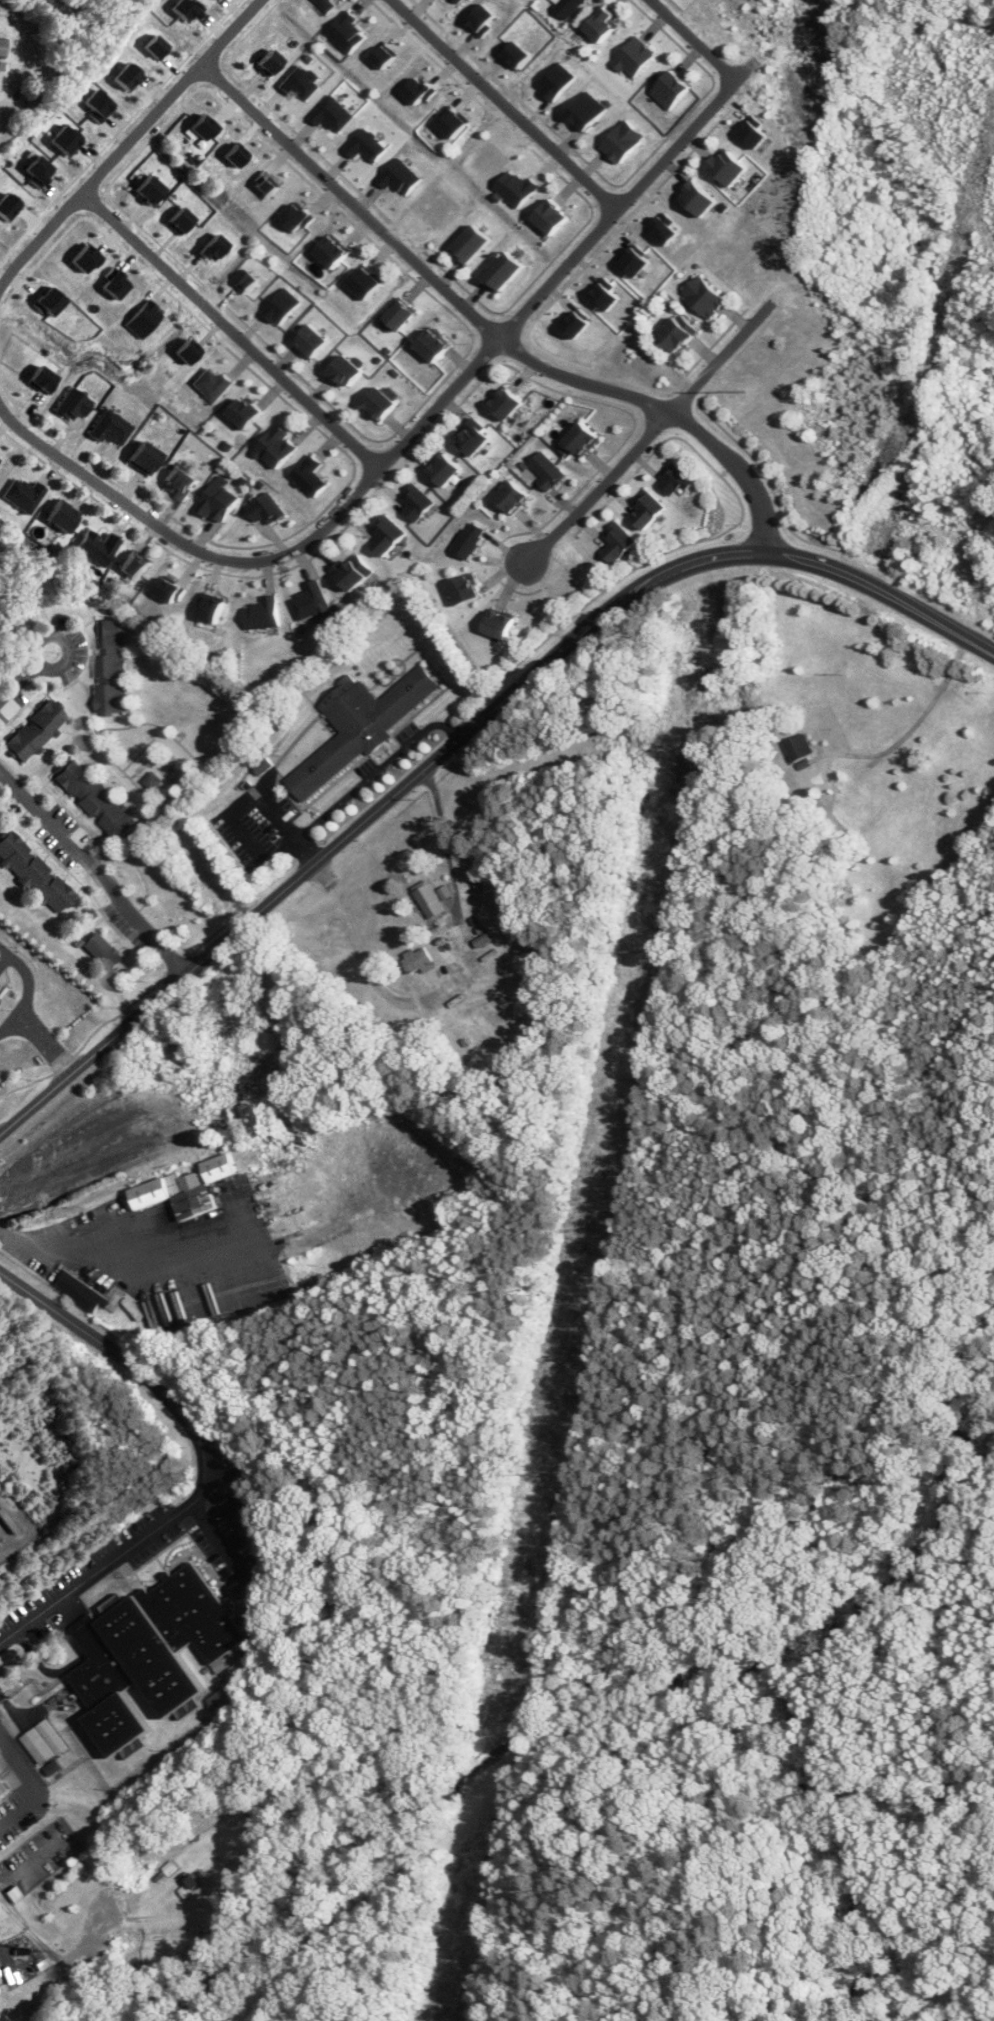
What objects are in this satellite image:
building: (598, 24)
road: (692, 40)
building: (3, 47)
building: (632, 58)
building: (1, 72)
building: (667, 89)
road: (505, 104)
building: (33, 105)
building: (583, 110)
building: (2, 129)
road: (128, 139)
building: (620, 141)
building: (724, 166)
building: (693, 198)
building: (557, 216)
building: (476, 243)
building: (508, 270)
building: (370, 282)
building: (701, 297)
building: (405, 314)
road: (485, 328)
road: (230, 331)
building: (673, 332)
building: (316, 340)
building: (437, 345)
building: (350, 371)
power tower: (741, 392)
building: (384, 403)
building: (510, 403)
building: (75, 404)
building: (250, 412)
building: (112, 428)
road: (647, 436)
road: (411, 437)
building: (477, 437)
building: (585, 438)
building: (281, 446)
building: (147, 457)
building: (448, 469)
building: (548, 470)
building: (314, 477)
building: (182, 482)
building: (24, 495)
building: (515, 498)
building: (222, 501)
building: (419, 503)
building: (269, 510)
building: (653, 510)
building: (62, 516)
building: (390, 535)
building: (623, 543)
building: (97, 547)
building: (137, 566)
building: (356, 572)
building: (468, 589)
building: (314, 601)
building: (267, 614)
building: (504, 624)
road: (53, 631)
road: (13, 666)
building: (114, 666)
road: (916, 723)
building: (363, 726)
building: (36, 731)
road: (464, 736)
building: (802, 748)
road: (376, 770)
building: (153, 781)
building: (98, 800)
road: (240, 806)
road: (444, 836)
building: (36, 873)
road: (95, 875)
building: (435, 899)
road: (362, 945)
road: (3, 948)
building: (107, 952)
power tower: (643, 952)
road: (3, 954)
building: (422, 961)
road: (29, 992)
road: (46, 1043)
building: (190, 1190)
road: (121, 1259)
building: (83, 1292)
road: (219, 1459)
power tower: (548, 1472)
road: (23, 1523)
road: (222, 1535)
building: (153, 1653)
road: (33, 1782)
building: (5, 1787)

